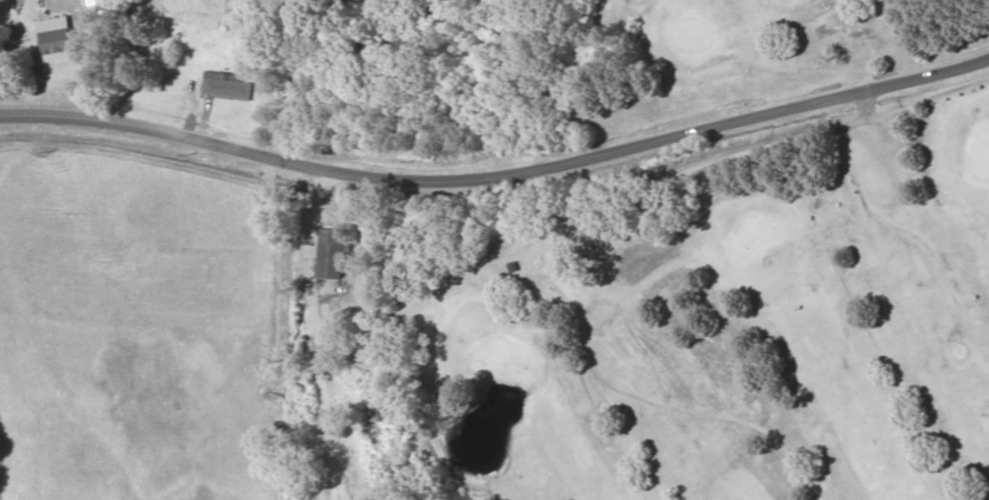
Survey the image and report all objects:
building: (245, 39)
building: (60, 42)
building: (226, 86)
road: (498, 159)
building: (331, 253)
park: (640, 253)

